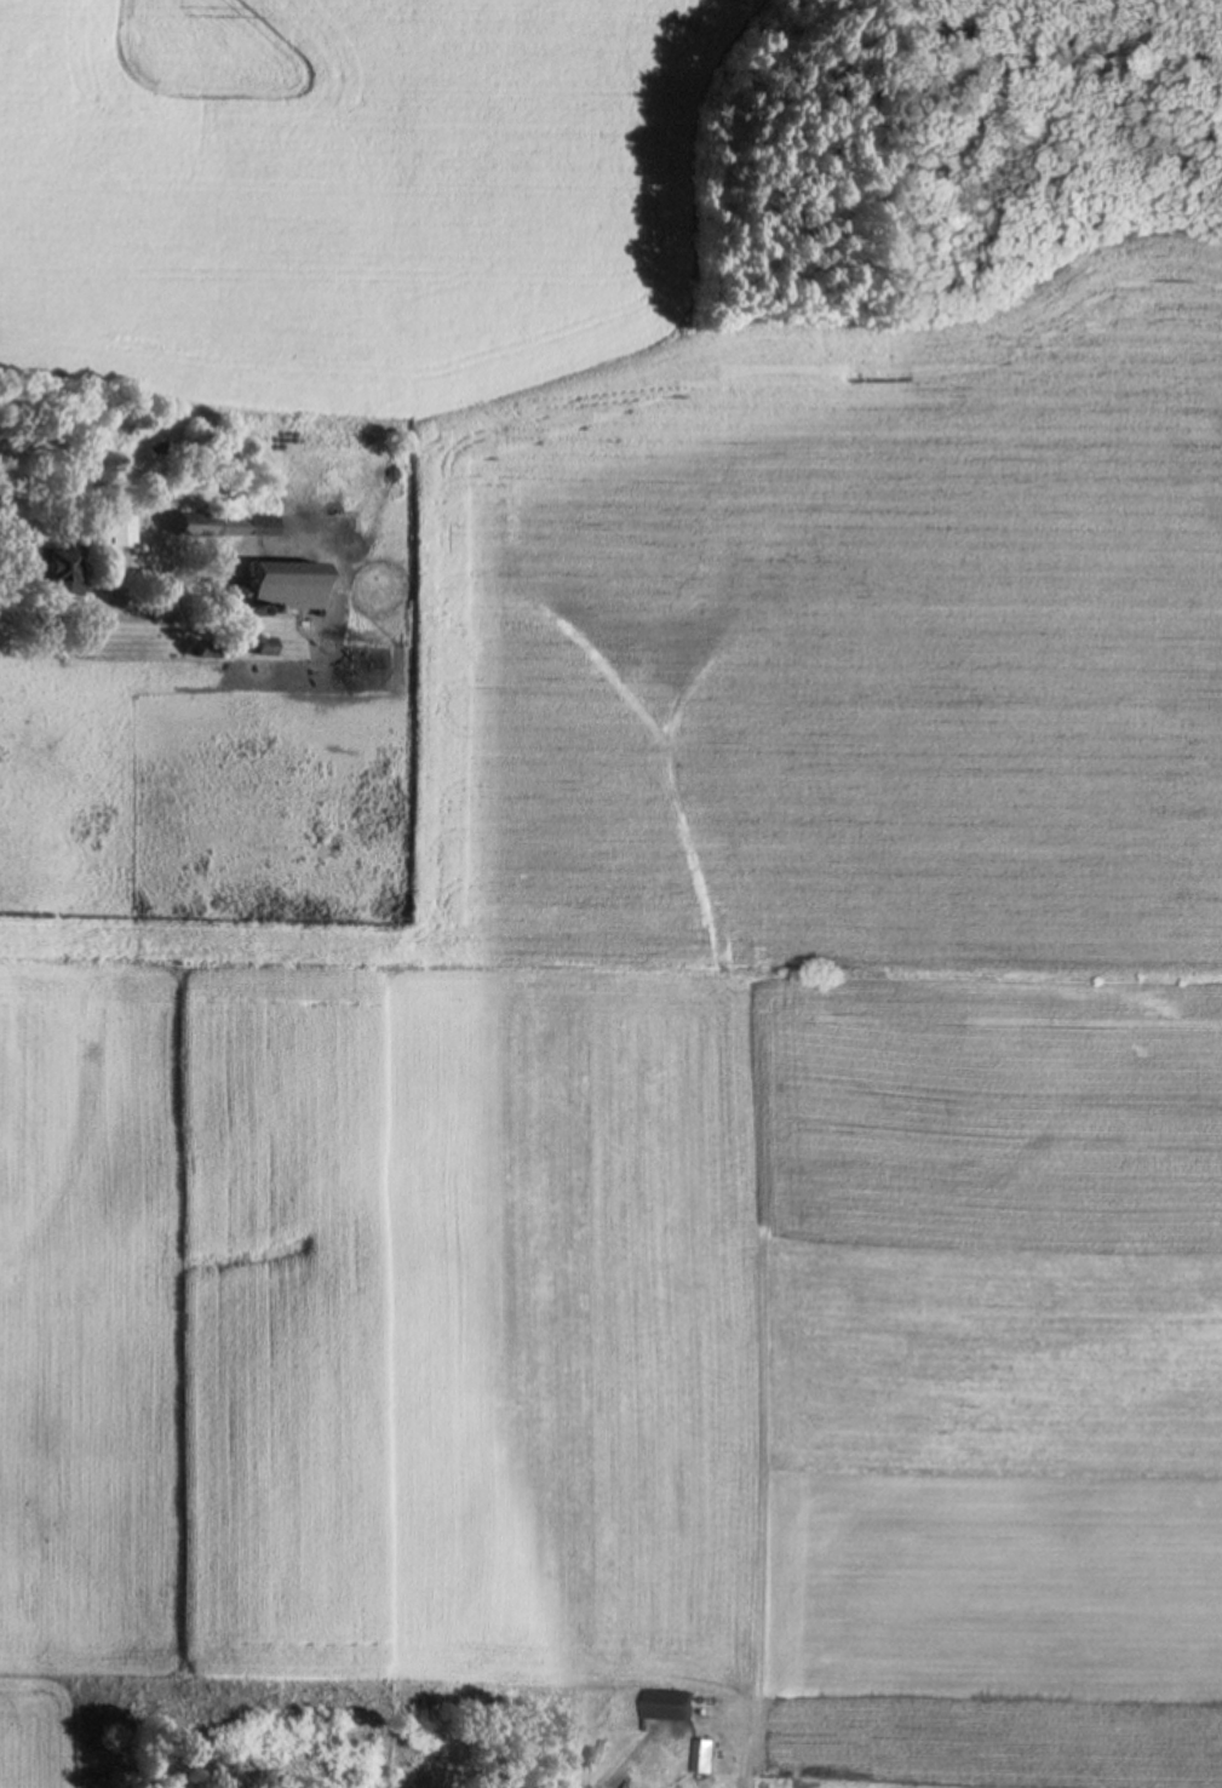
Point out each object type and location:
building: (230, 526)
building: (57, 571)
building: (282, 592)
road: (73, 611)
building: (667, 1696)
building: (704, 1757)

